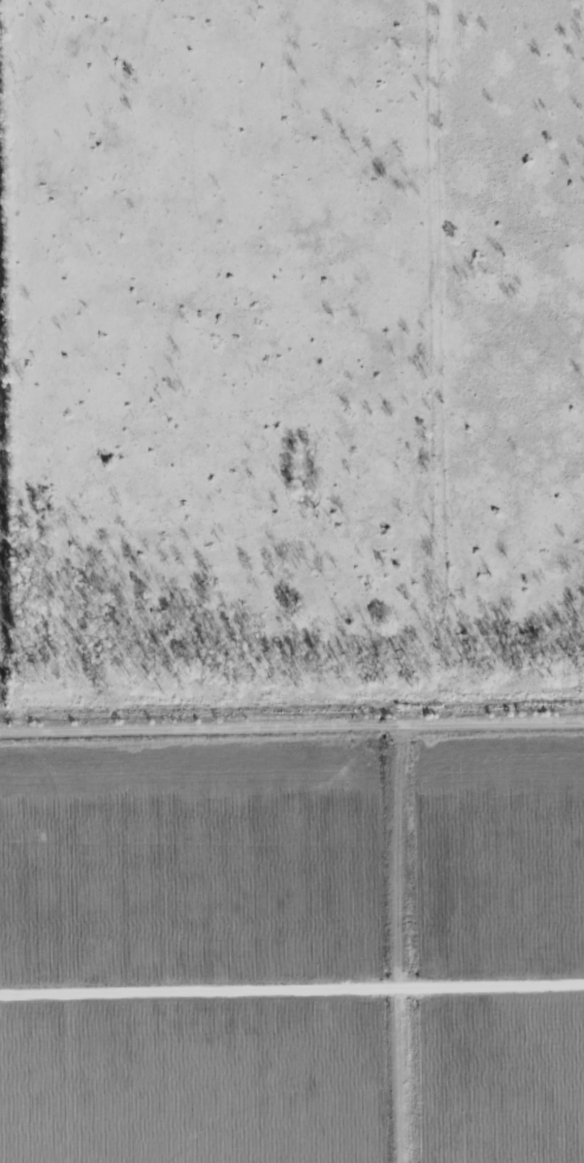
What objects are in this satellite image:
road: (291, 739)
road: (405, 948)

